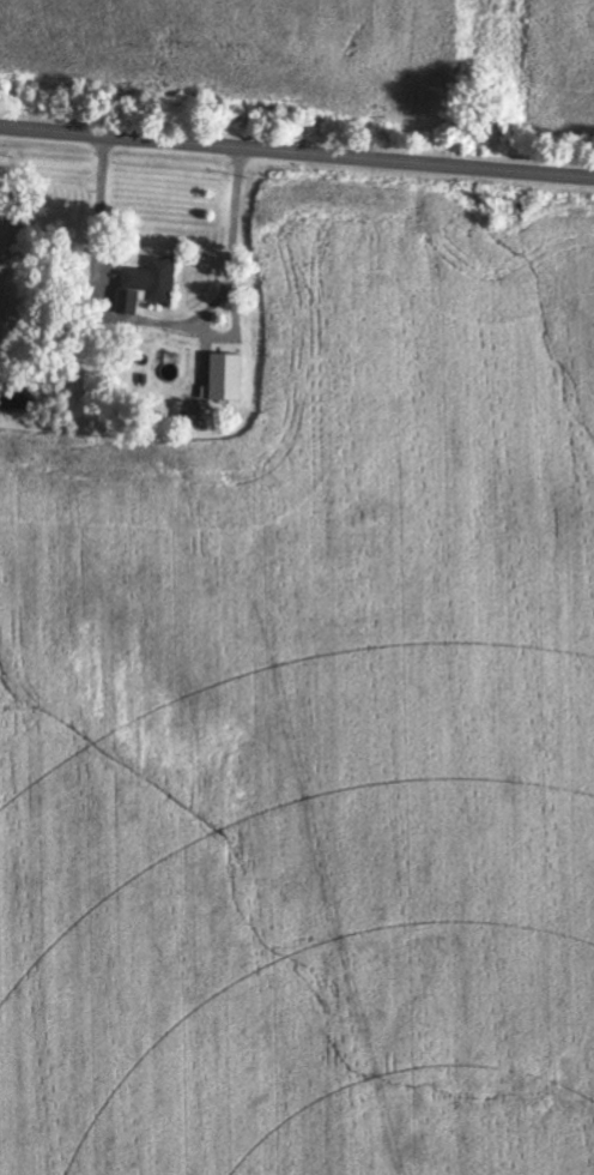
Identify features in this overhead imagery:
road: (297, 149)
building: (151, 287)

